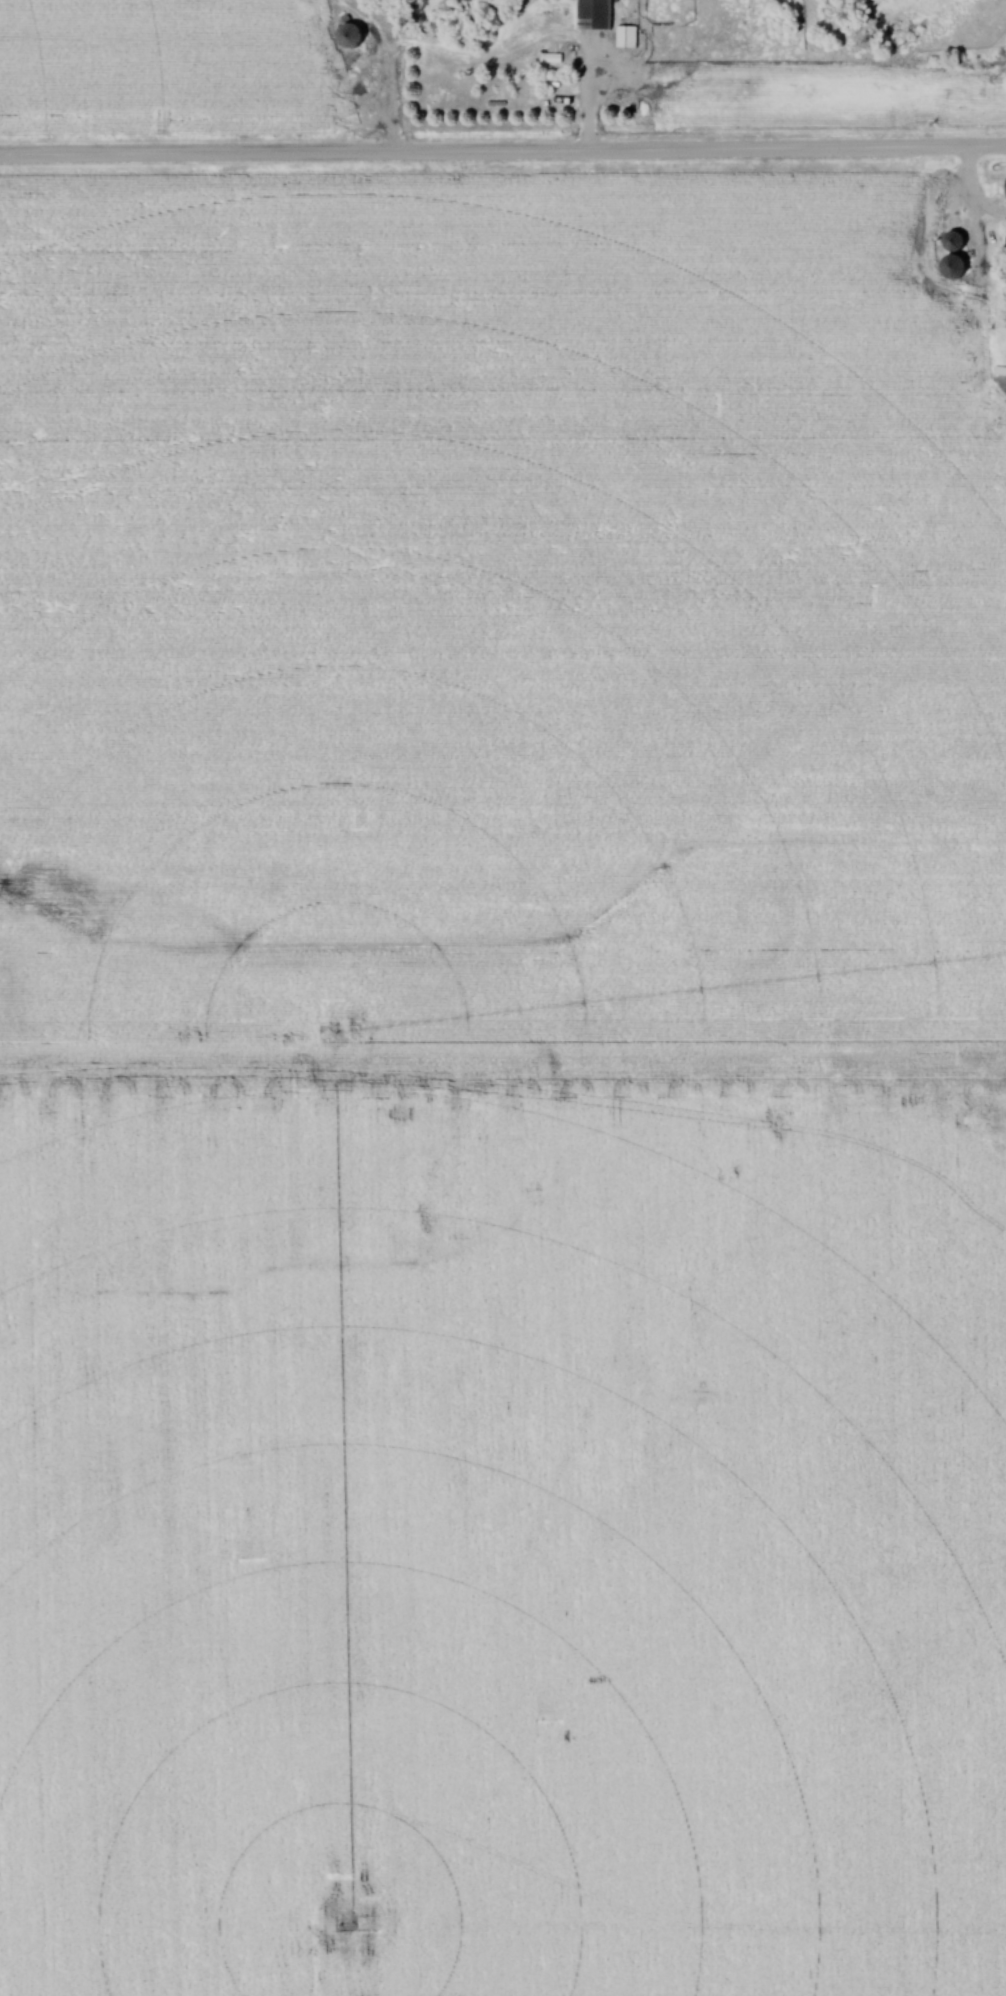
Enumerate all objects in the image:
building: (598, 13)
building: (355, 35)
building: (629, 37)
road: (588, 97)
road: (503, 155)
road: (970, 194)
building: (959, 241)
building: (957, 266)

